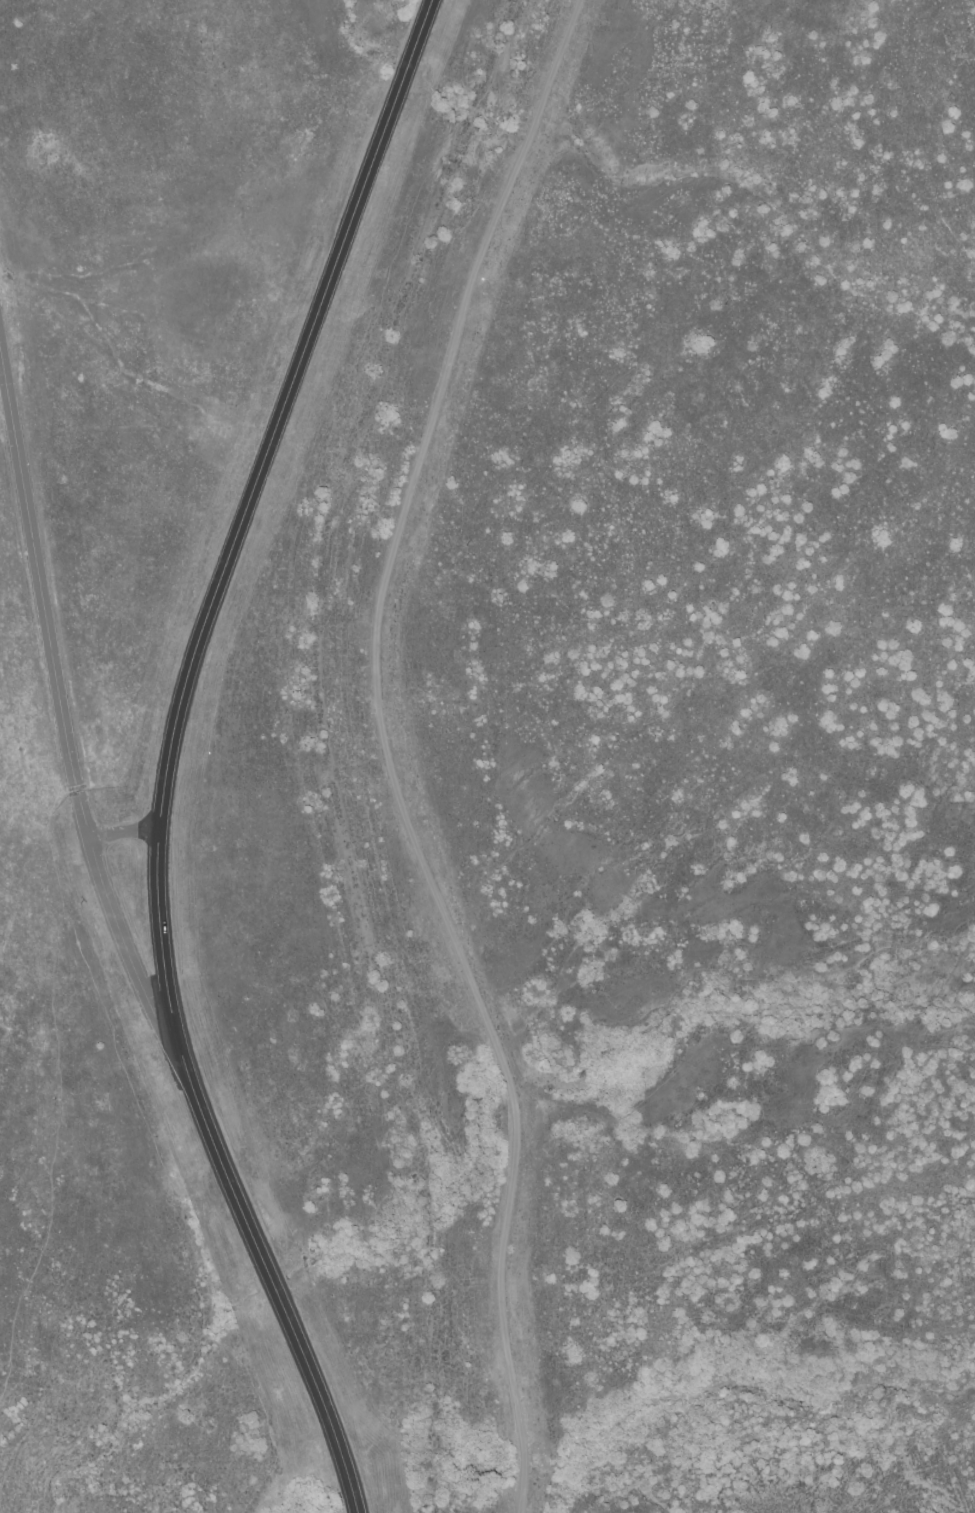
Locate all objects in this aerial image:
road: (65, 720)
road: (170, 750)
road: (386, 752)
road: (124, 830)

